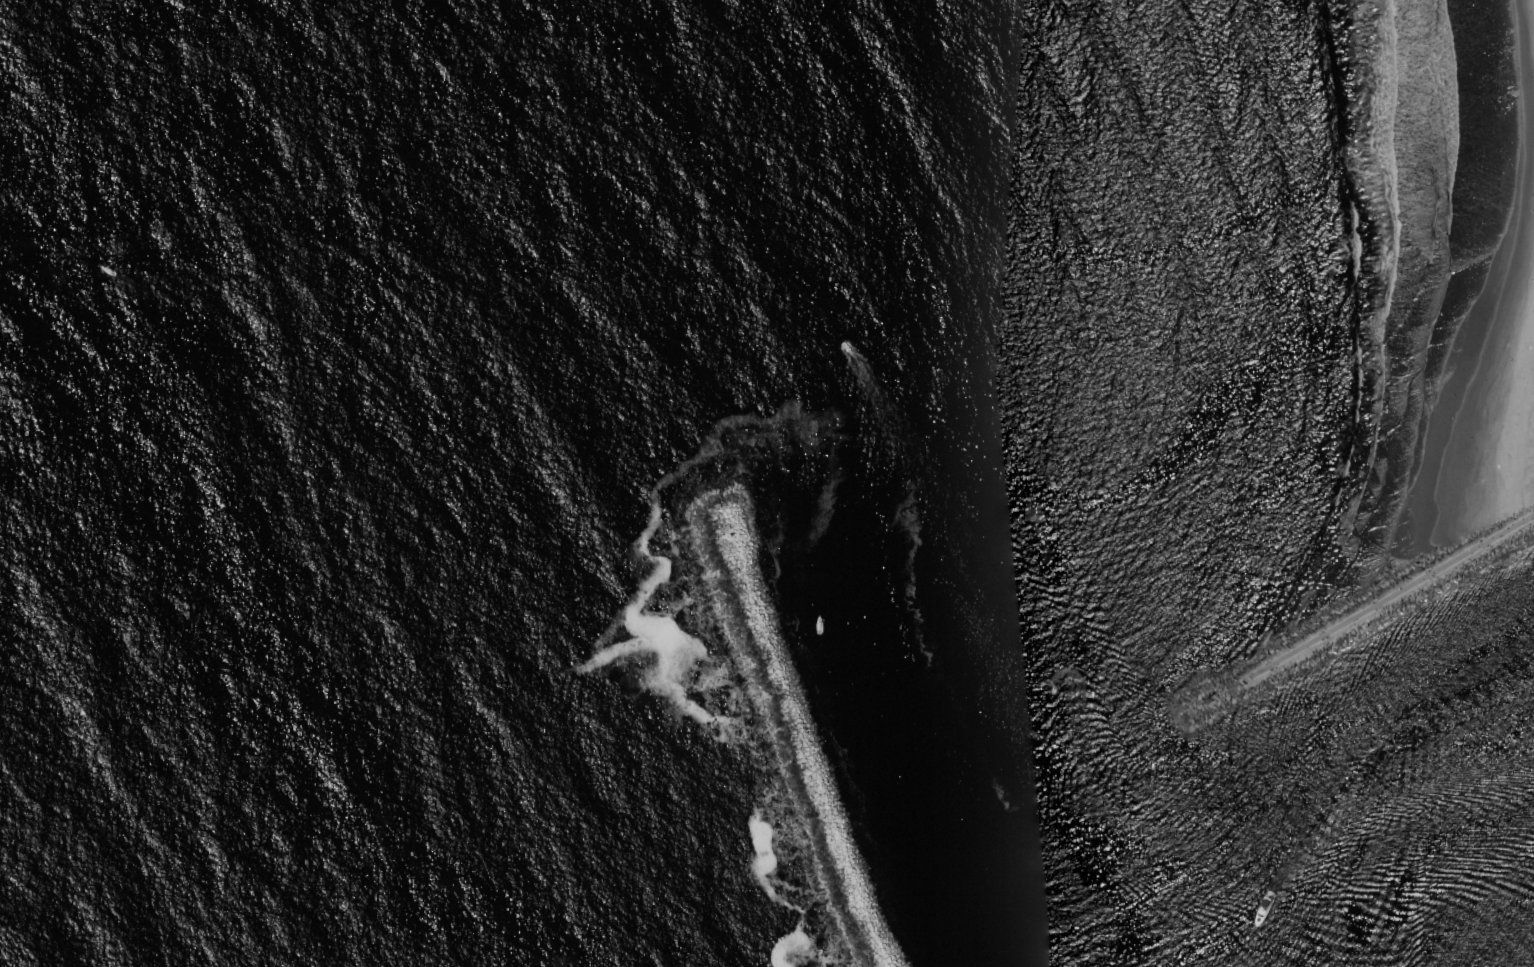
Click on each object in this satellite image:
road: (1393, 594)

